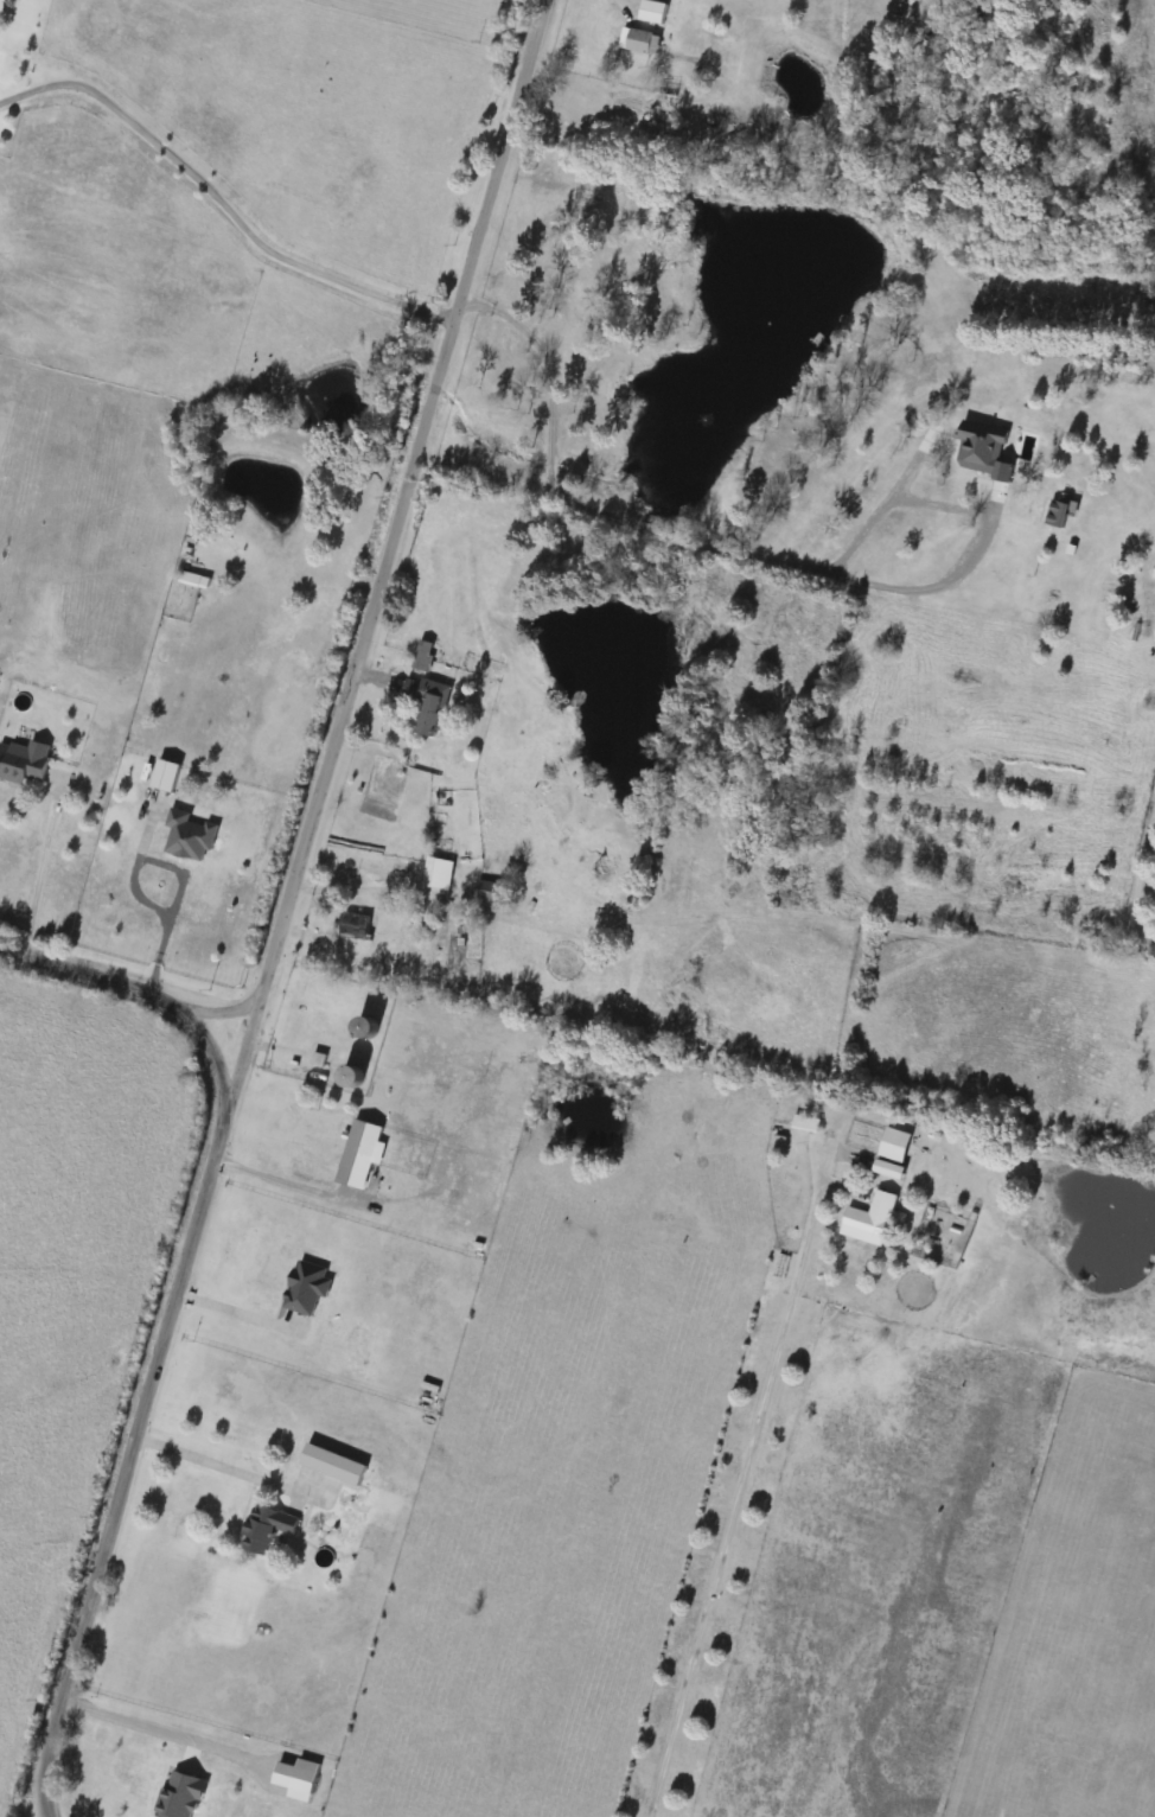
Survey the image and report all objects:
building: (656, 11)
building: (646, 42)
road: (219, 199)
building: (1060, 514)
road: (765, 555)
road: (379, 568)
building: (191, 579)
building: (426, 655)
building: (429, 702)
building: (25, 761)
building: (167, 776)
building: (192, 836)
road: (42, 866)
building: (429, 873)
building: (490, 894)
road: (152, 901)
building: (357, 926)
road: (215, 1005)
building: (358, 1077)
building: (806, 1123)
building: (894, 1153)
road: (291, 1182)
building: (873, 1219)
building: (308, 1288)
road: (234, 1308)
road: (168, 1318)
road: (222, 1464)
building: (336, 1466)
road: (734, 1496)
building: (269, 1529)
road: (135, 1721)

